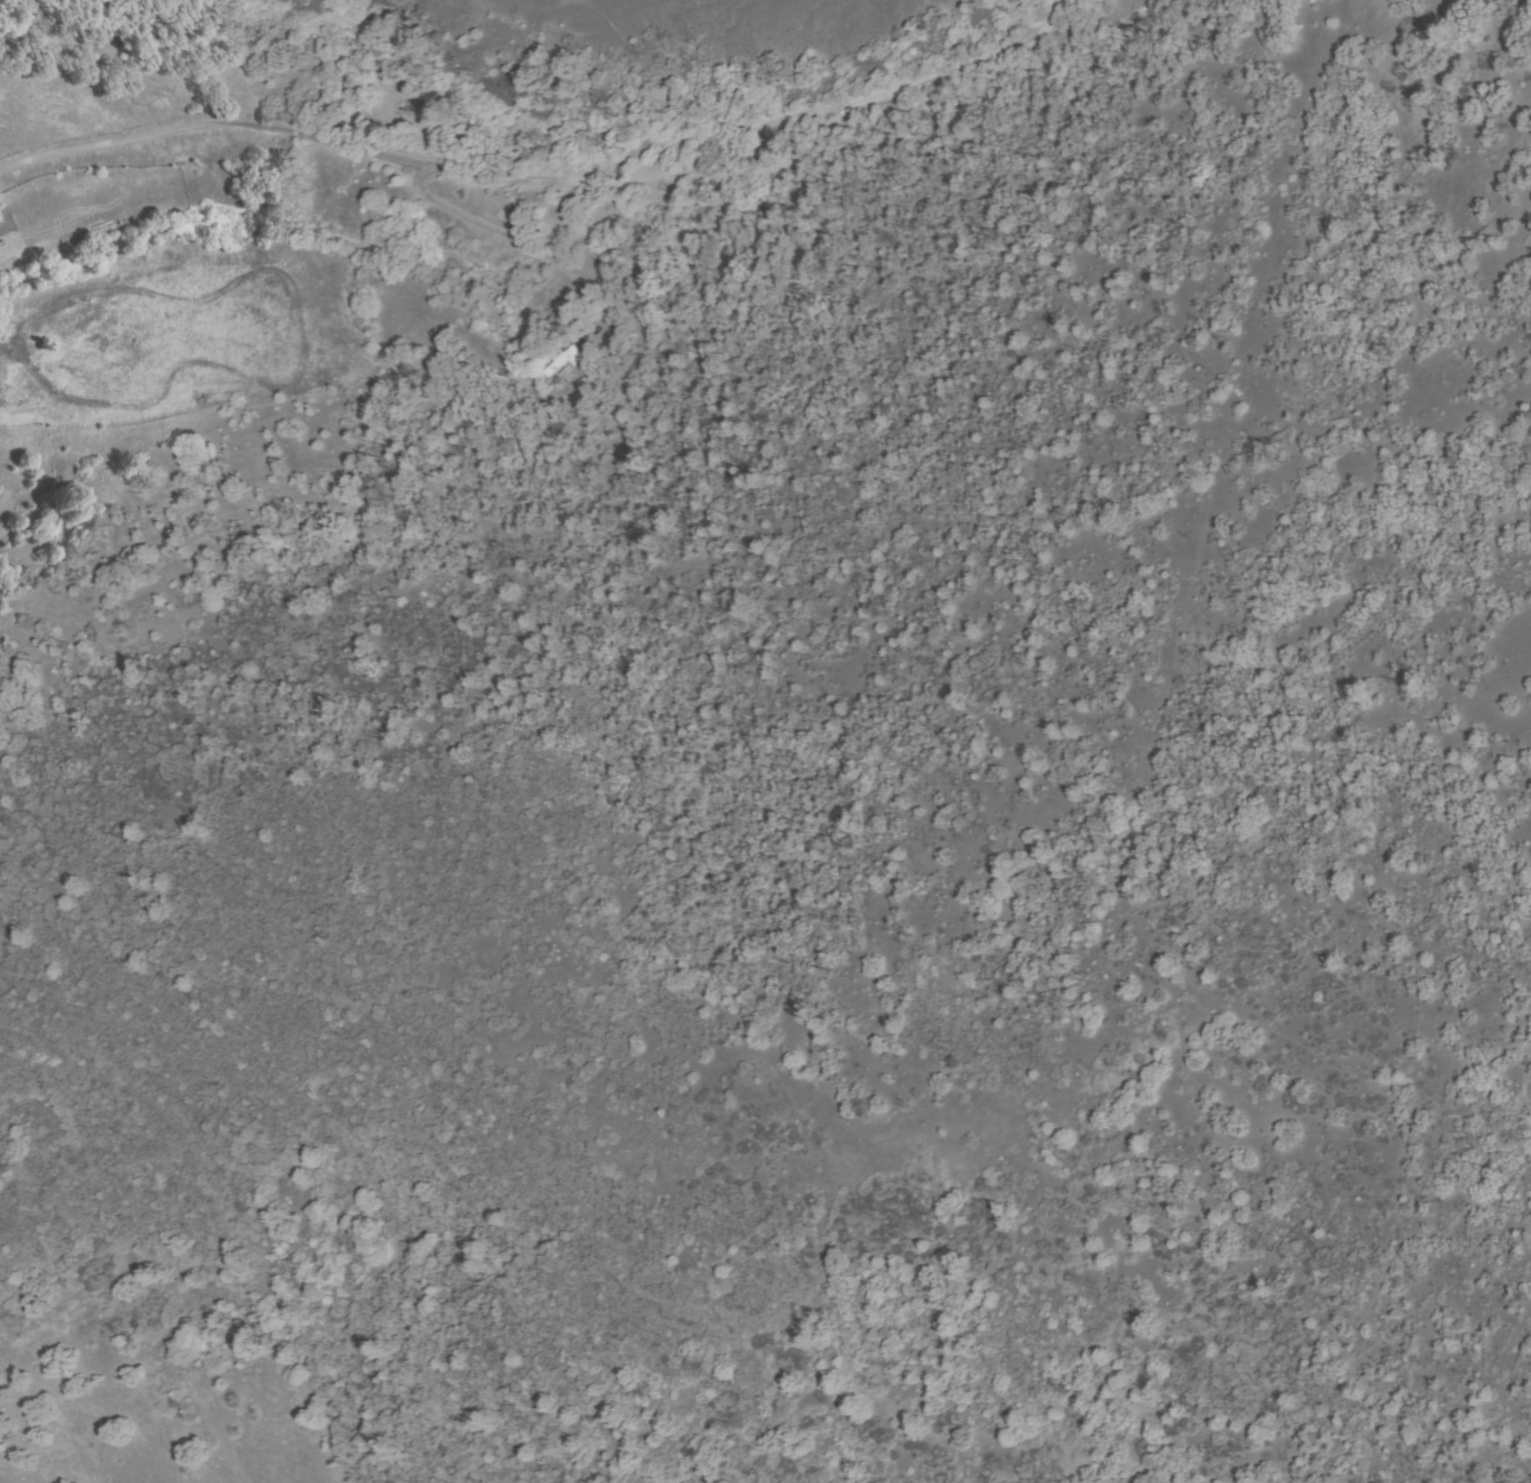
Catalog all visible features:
road: (546, 177)
building: (565, 358)

